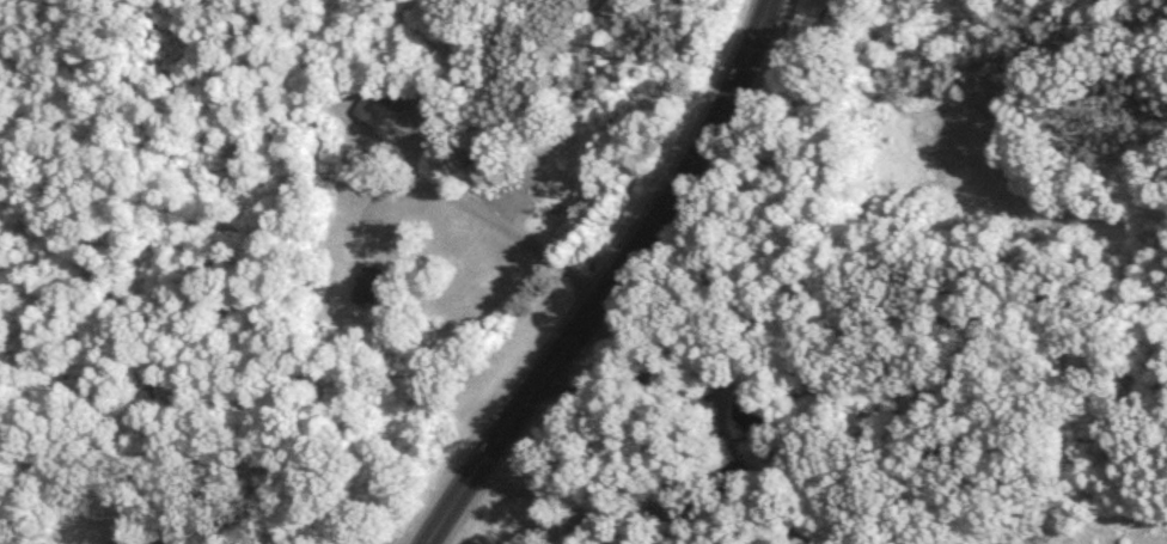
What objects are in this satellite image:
building: (379, 105)
road: (696, 159)
road: (466, 213)
building: (371, 286)
road: (727, 378)
building: (749, 411)
road: (509, 422)
building: (213, 479)
road: (227, 520)
building: (582, 527)

